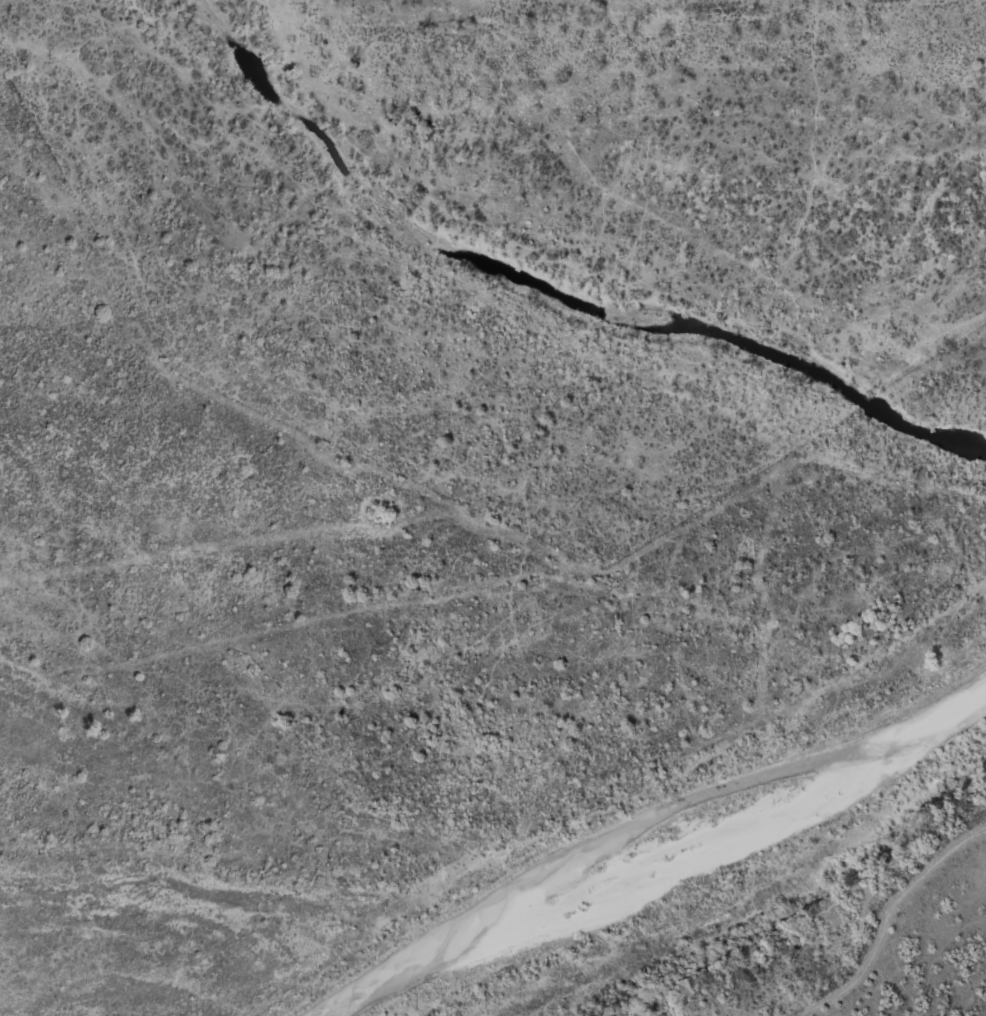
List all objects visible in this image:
road: (889, 908)

